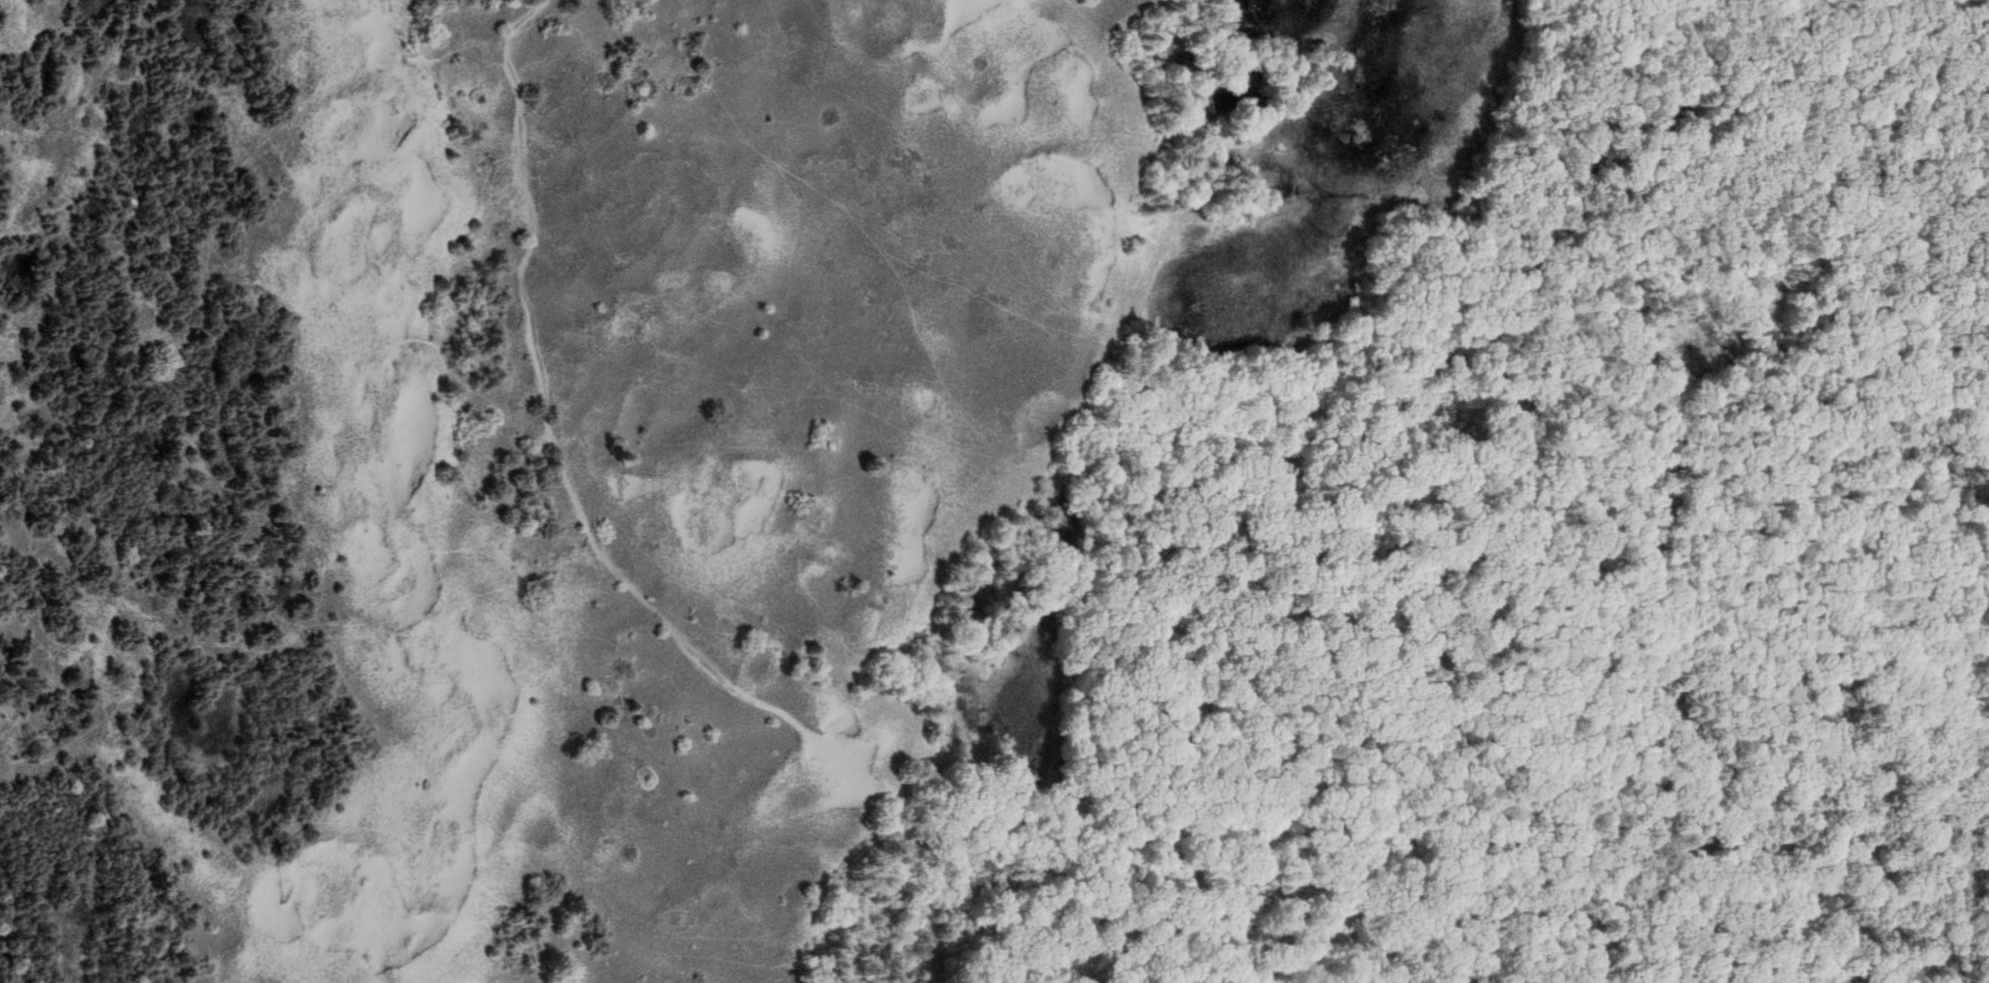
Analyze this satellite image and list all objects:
road: (1779, 313)
park: (994, 491)
road: (599, 543)

